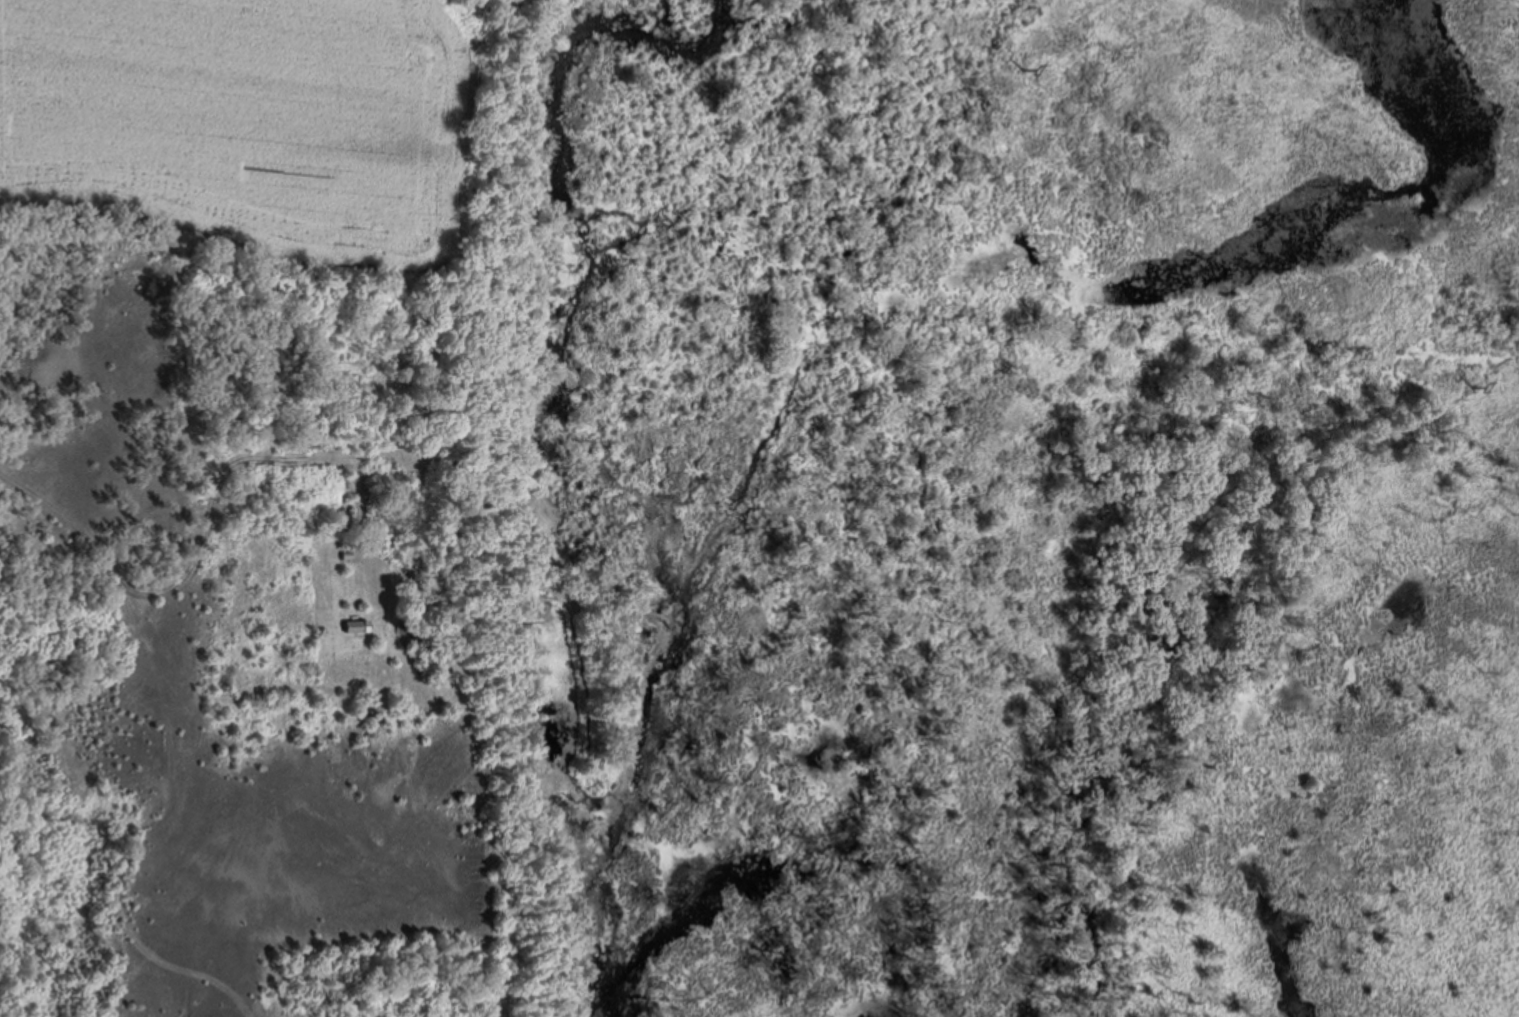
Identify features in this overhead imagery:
power tower: (1024, 69)
power tower: (1472, 386)
road: (308, 456)
road: (171, 752)

